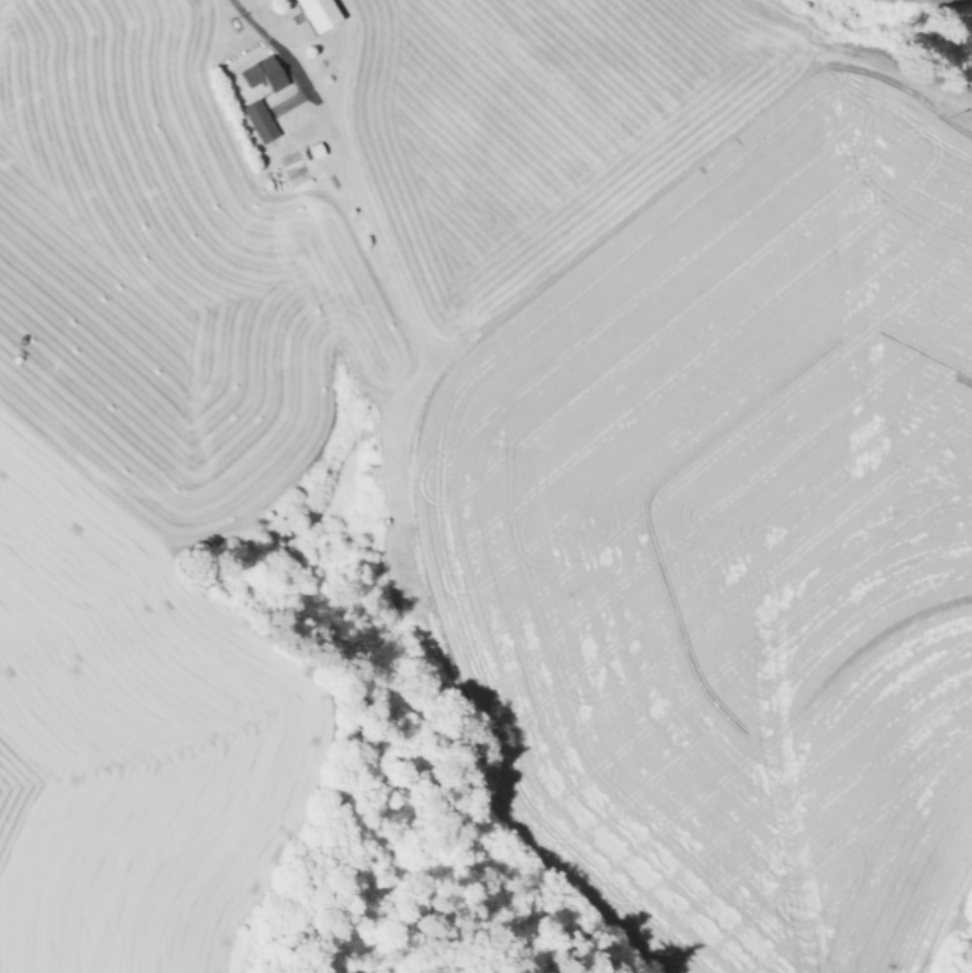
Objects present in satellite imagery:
crop: (968, 0)
building: (320, 13)
road: (255, 23)
building: (265, 73)
building: (260, 120)
crop: (479, 464)

